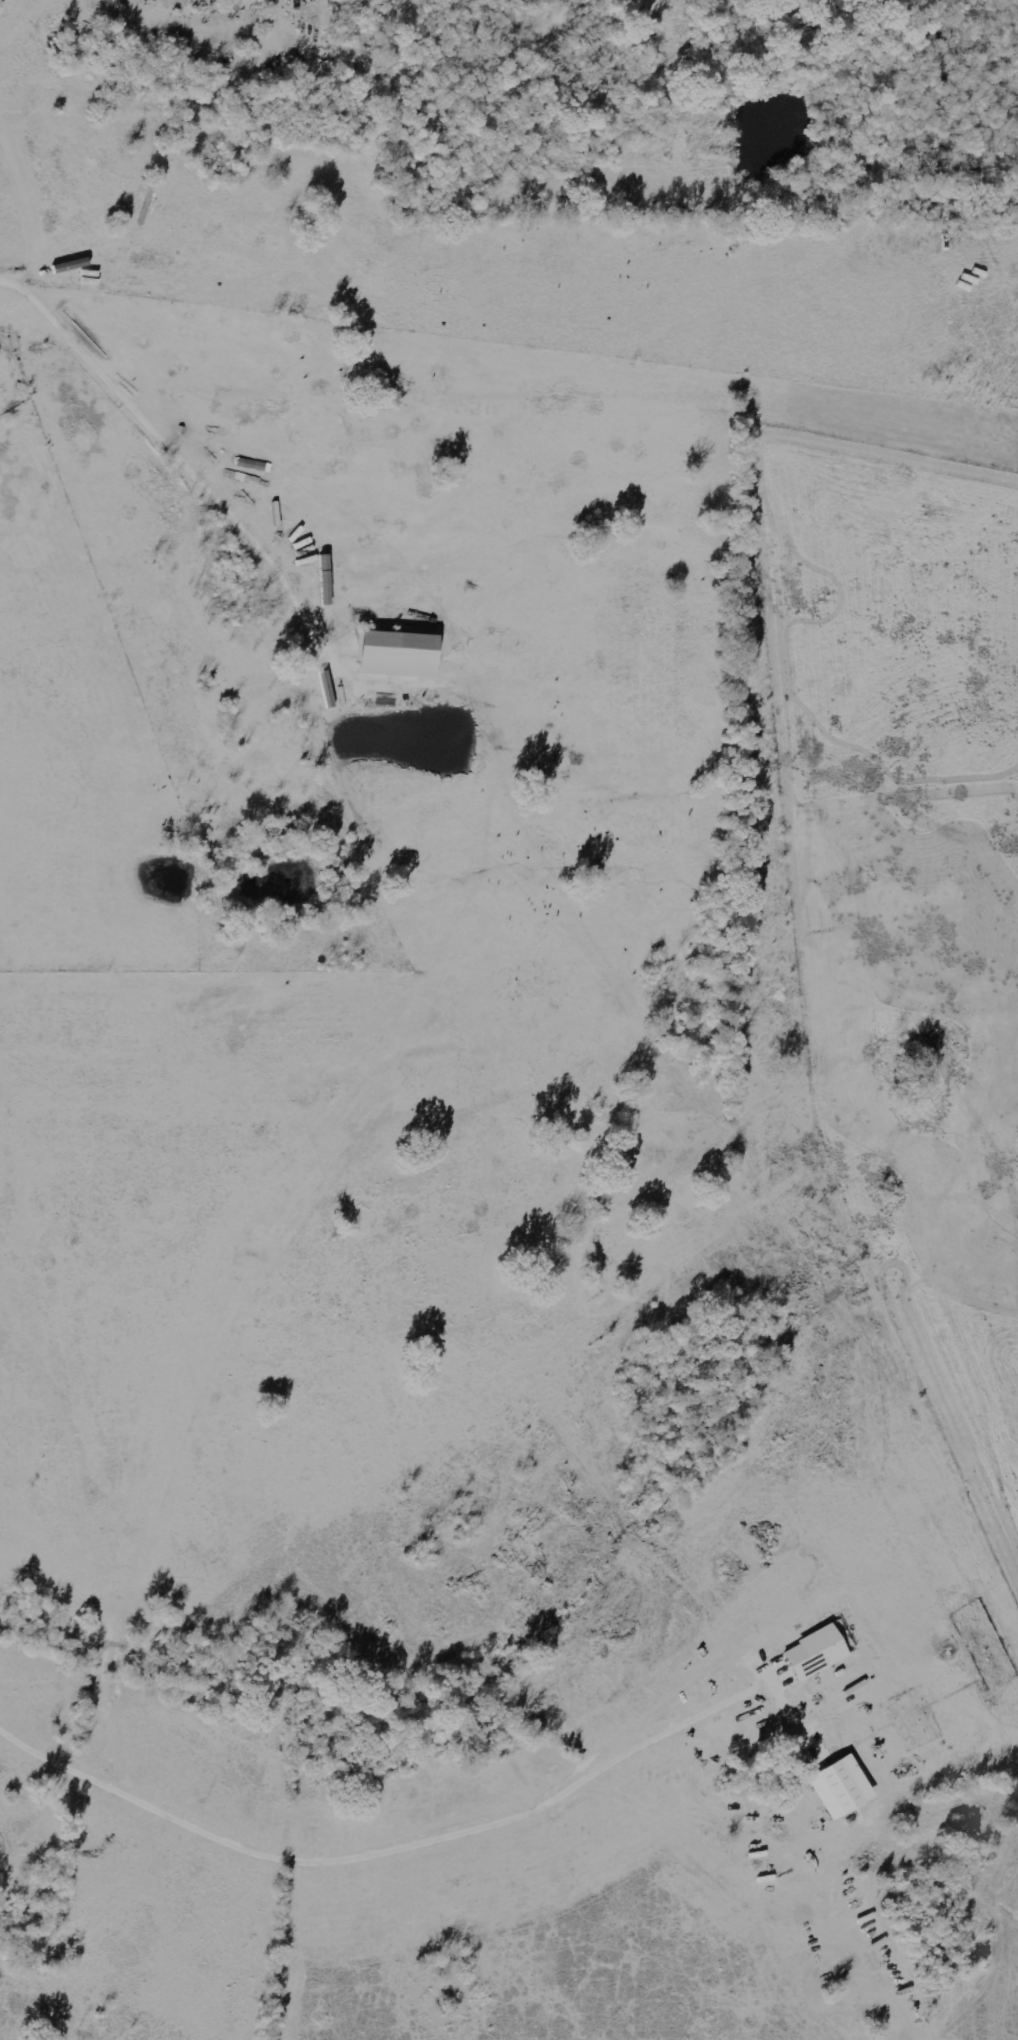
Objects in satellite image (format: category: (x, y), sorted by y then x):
building: (402, 649)
building: (818, 1652)
building: (843, 1788)

